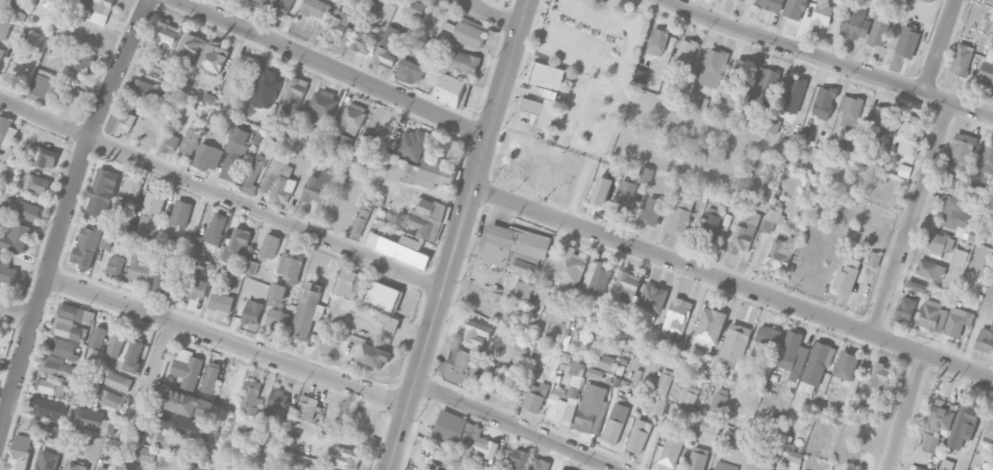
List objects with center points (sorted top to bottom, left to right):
building: (931, 0)
building: (990, 0)
building: (262, 1)
building: (771, 4)
building: (279, 7)
building: (314, 7)
building: (50, 8)
building: (414, 8)
building: (795, 8)
building: (97, 10)
road: (604, 13)
road: (493, 14)
building: (822, 14)
building: (855, 22)
building: (988, 23)
building: (339, 26)
building: (4, 27)
building: (880, 28)
building: (165, 34)
building: (468, 35)
building: (361, 40)
building: (657, 41)
building: (908, 41)
road: (629, 44)
road: (571, 45)
building: (389, 46)
road: (939, 46)
building: (190, 47)
building: (422, 48)
building: (69, 49)
building: (685, 51)
building: (1, 53)
building: (213, 59)
road: (828, 59)
building: (962, 59)
building: (83, 60)
building: (462, 61)
building: (247, 68)
road: (333, 68)
building: (713, 68)
building: (987, 69)
building: (410, 71)
building: (270, 72)
building: (639, 76)
building: (545, 79)
building: (735, 83)
building: (45, 84)
building: (766, 86)
building: (295, 89)
building: (148, 90)
building: (450, 90)
building: (794, 94)
building: (209, 98)
building: (850, 110)
building: (539, 111)
building: (318, 112)
building: (818, 112)
building: (752, 115)
building: (880, 117)
building: (353, 118)
building: (120, 120)
building: (288, 130)
building: (6, 132)
building: (906, 133)
building: (258, 135)
road: (572, 141)
building: (189, 142)
building: (170, 143)
building: (339, 143)
building: (413, 143)
building: (960, 152)
building: (235, 153)
building: (44, 156)
building: (208, 157)
building: (987, 158)
building: (254, 170)
building: (430, 174)
building: (645, 174)
building: (270, 177)
building: (36, 183)
building: (319, 184)
building: (284, 185)
road: (579, 185)
building: (954, 185)
building: (130, 188)
building: (102, 191)
building: (973, 192)
road: (221, 195)
building: (624, 196)
building: (375, 197)
building: (853, 202)
building: (154, 203)
building: (652, 210)
building: (26, 211)
building: (181, 212)
road: (65, 213)
building: (681, 216)
building: (772, 217)
building: (423, 218)
road: (911, 218)
building: (362, 219)
building: (958, 219)
building: (711, 221)
building: (143, 224)
building: (216, 228)
building: (744, 233)
road: (458, 234)
building: (15, 237)
building: (940, 242)
building: (513, 244)
building: (238, 245)
building: (270, 245)
building: (87, 247)
building: (195, 247)
building: (781, 253)
building: (935, 254)
building: (959, 256)
building: (874, 258)
building: (115, 265)
building: (290, 265)
building: (252, 267)
building: (571, 267)
building: (525, 268)
building: (930, 269)
building: (139, 270)
building: (7, 272)
building: (847, 276)
building: (161, 278)
building: (597, 279)
road: (732, 283)
building: (350, 284)
building: (196, 286)
building: (917, 286)
building: (518, 287)
building: (625, 292)
building: (276, 293)
building: (384, 295)
building: (221, 301)
building: (652, 302)
building: (906, 309)
building: (307, 310)
building: (252, 311)
building: (76, 312)
road: (16, 314)
building: (933, 316)
building: (276, 319)
building: (677, 319)
building: (958, 321)
building: (392, 323)
building: (68, 328)
building: (708, 329)
building: (475, 334)
building: (768, 335)
building: (97, 337)
building: (985, 339)
building: (116, 342)
road: (226, 342)
building: (734, 345)
building: (63, 348)
building: (789, 349)
building: (133, 355)
building: (374, 358)
building: (606, 362)
building: (817, 363)
building: (846, 365)
building: (460, 366)
building: (58, 367)
building: (187, 368)
building: (595, 373)
road: (152, 375)
building: (880, 375)
building: (211, 377)
building: (118, 381)
building: (658, 382)
building: (49, 386)
building: (250, 396)
building: (535, 397)
building: (566, 397)
building: (689, 397)
building: (112, 399)
building: (188, 404)
building: (277, 404)
building: (717, 404)
building: (44, 405)
building: (307, 407)
building: (657, 407)
building: (591, 409)
road: (905, 412)
building: (355, 416)
building: (837, 416)
building: (941, 416)
building: (94, 420)
building: (615, 423)
building: (964, 423)
road: (519, 424)
building: (191, 427)
building: (710, 427)
building: (990, 429)
building: (463, 433)
building: (638, 436)
building: (736, 439)
building: (166, 440)
building: (930, 443)
building: (117, 445)
building: (673, 446)
building: (19, 452)
building: (145, 454)
building: (345, 456)
building: (697, 458)
building: (47, 460)
building: (515, 461)
building: (795, 461)
building: (540, 464)
building: (946, 464)
building: (76, 466)
road: (605, 466)
building: (725, 466)
building: (105, 467)
building: (917, 468)
building: (449, 469)

